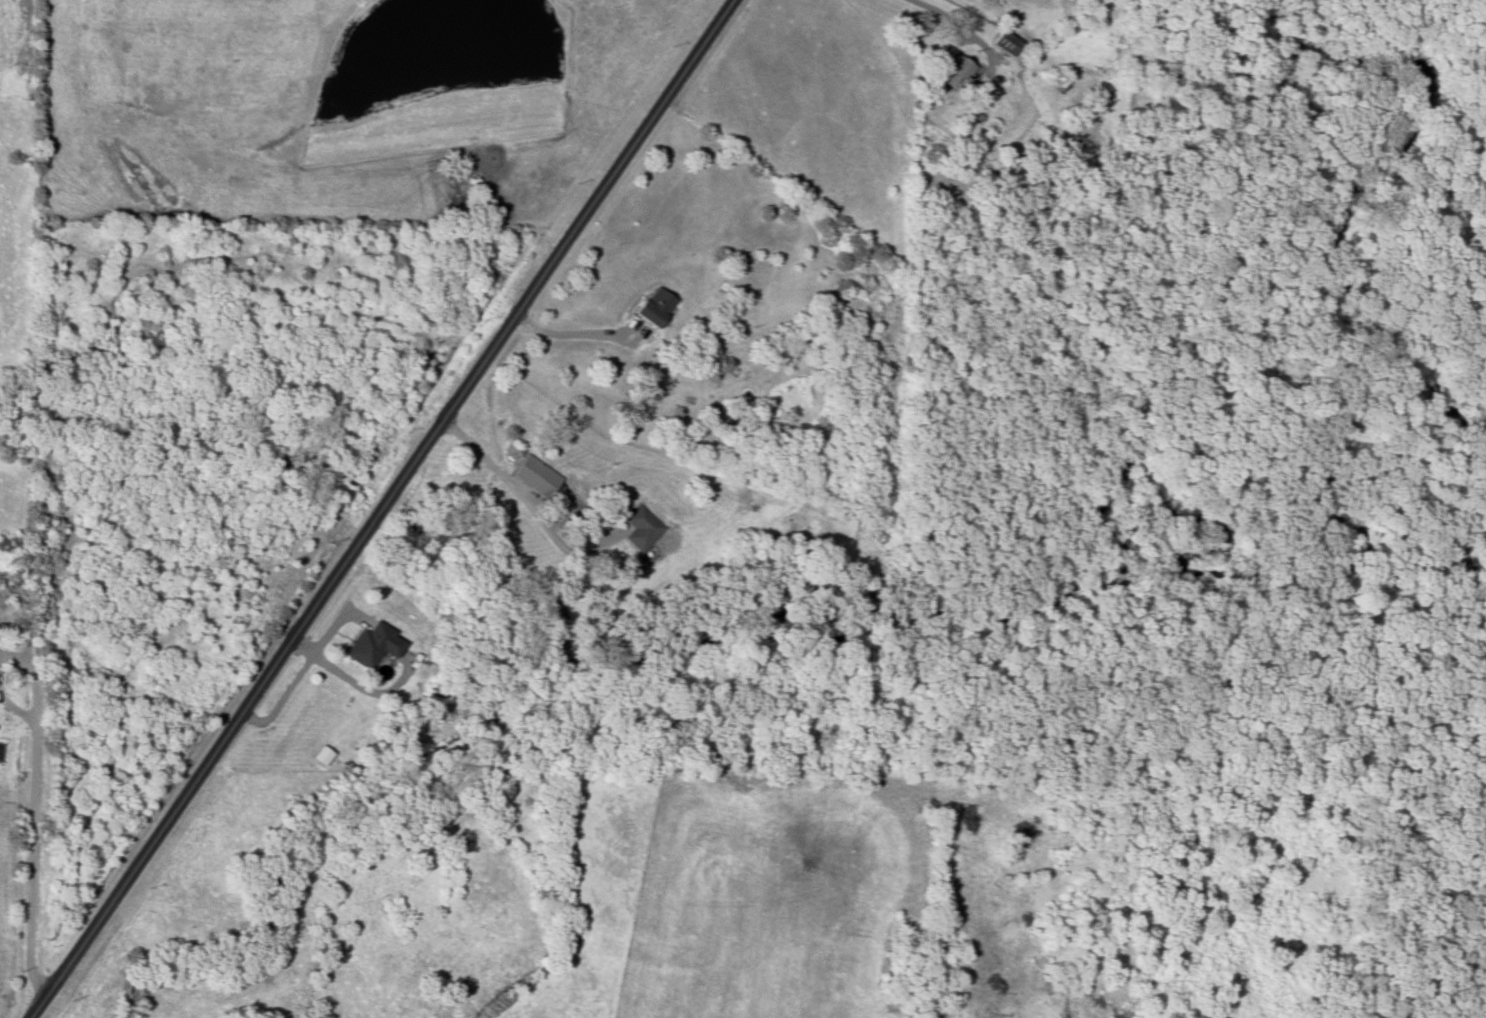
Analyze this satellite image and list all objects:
road: (953, 23)
building: (1008, 44)
building: (959, 73)
building: (660, 307)
road: (566, 333)
building: (540, 477)
road: (378, 508)
building: (644, 528)
road: (549, 531)
building: (377, 646)
building: (324, 756)
road: (33, 814)

